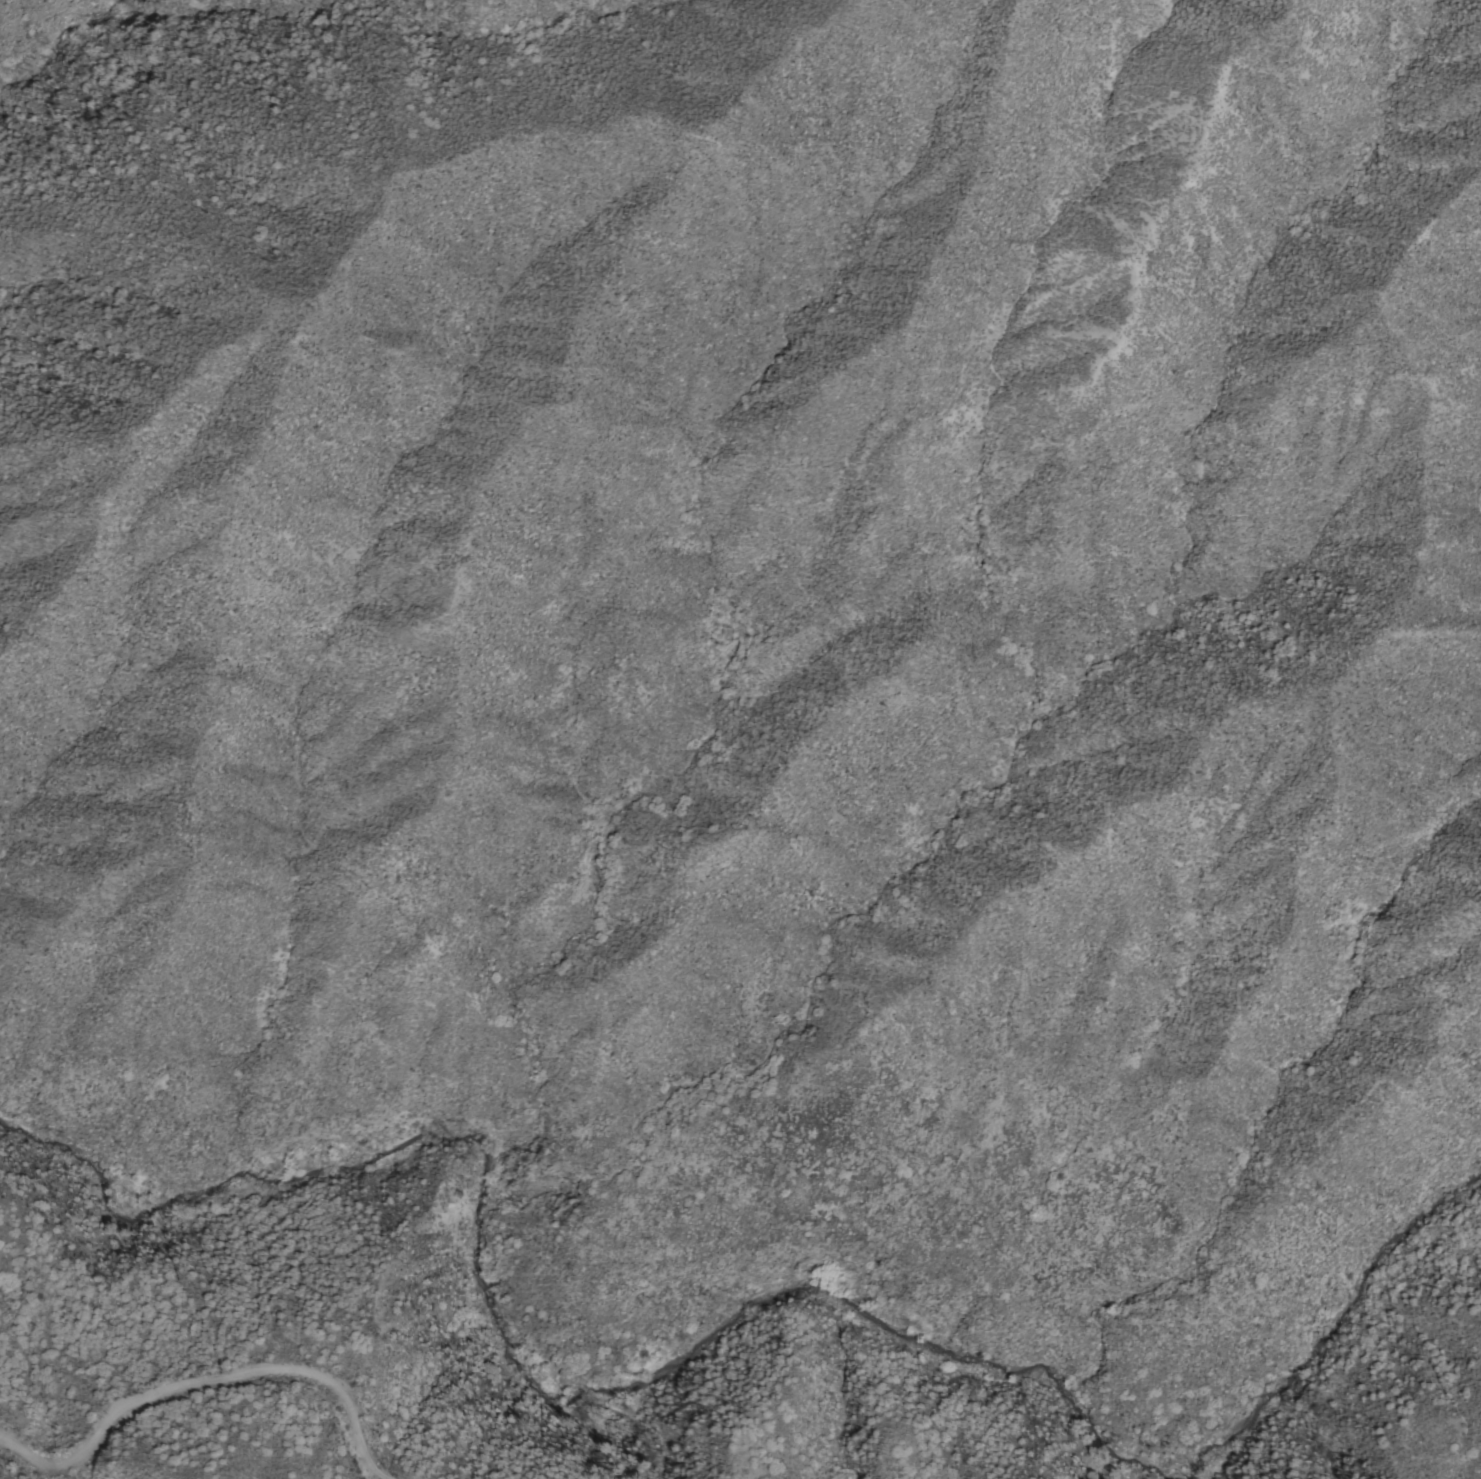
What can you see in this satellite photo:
road: (202, 1386)

